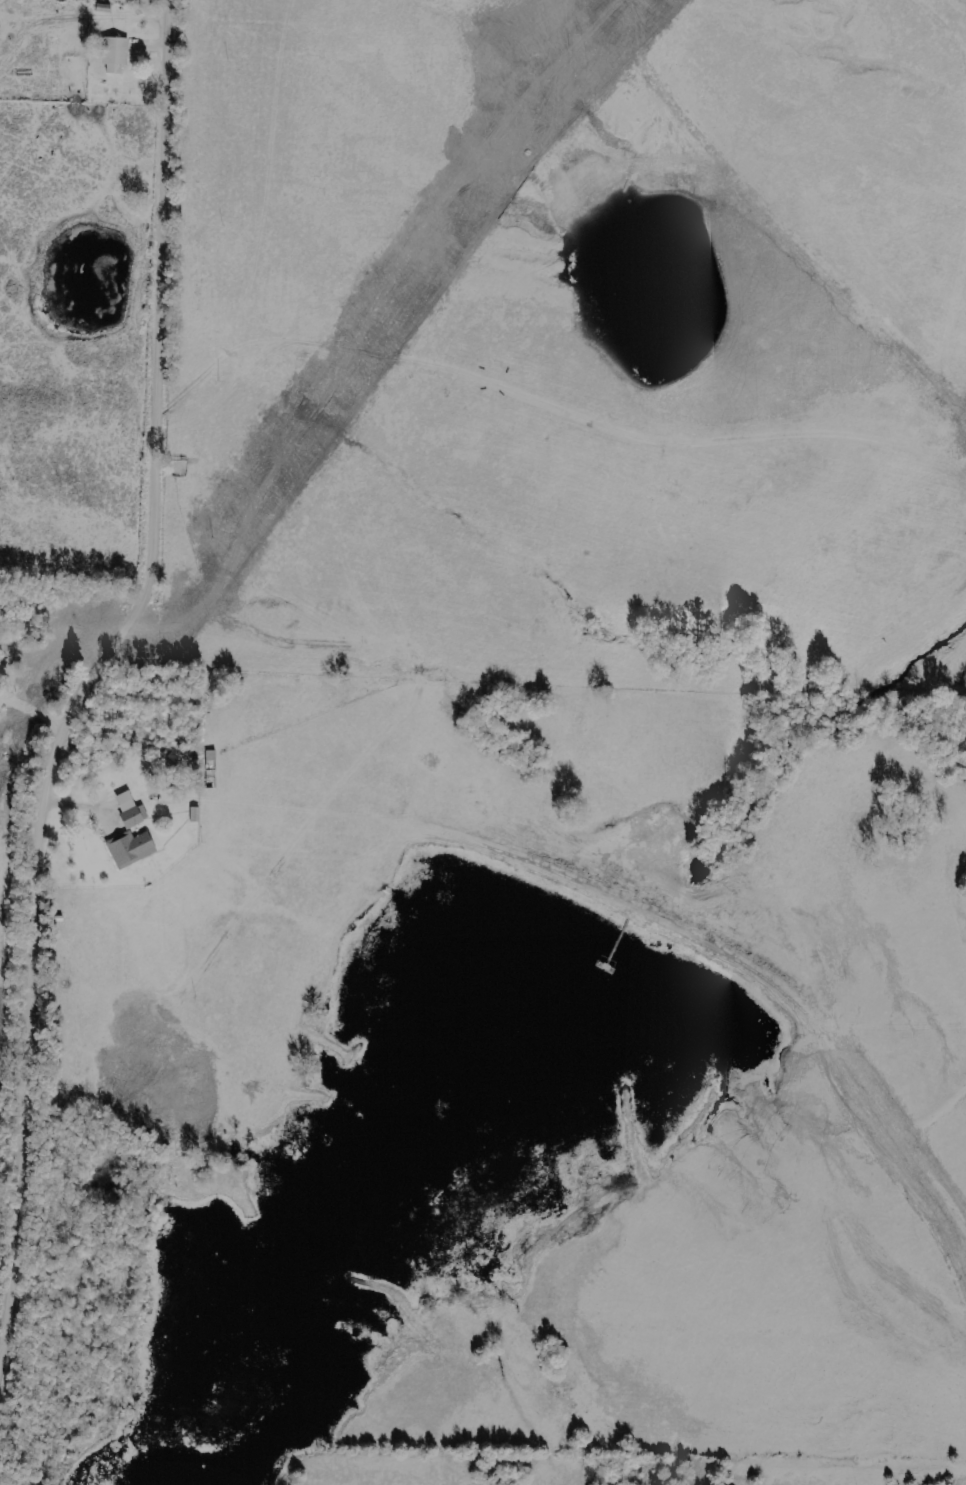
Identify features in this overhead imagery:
building: (116, 54)
road: (121, 644)
building: (131, 810)
building: (132, 848)

